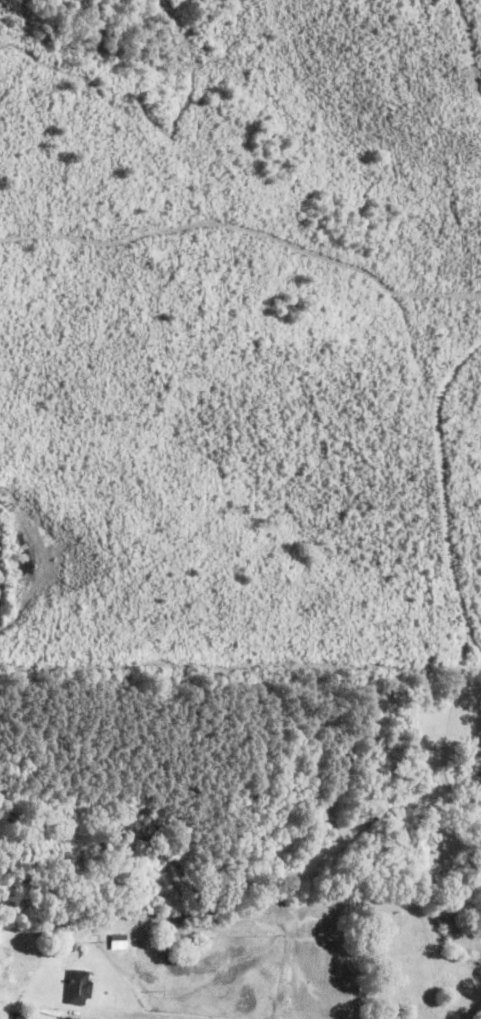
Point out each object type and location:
road: (46, 869)
building: (79, 988)

